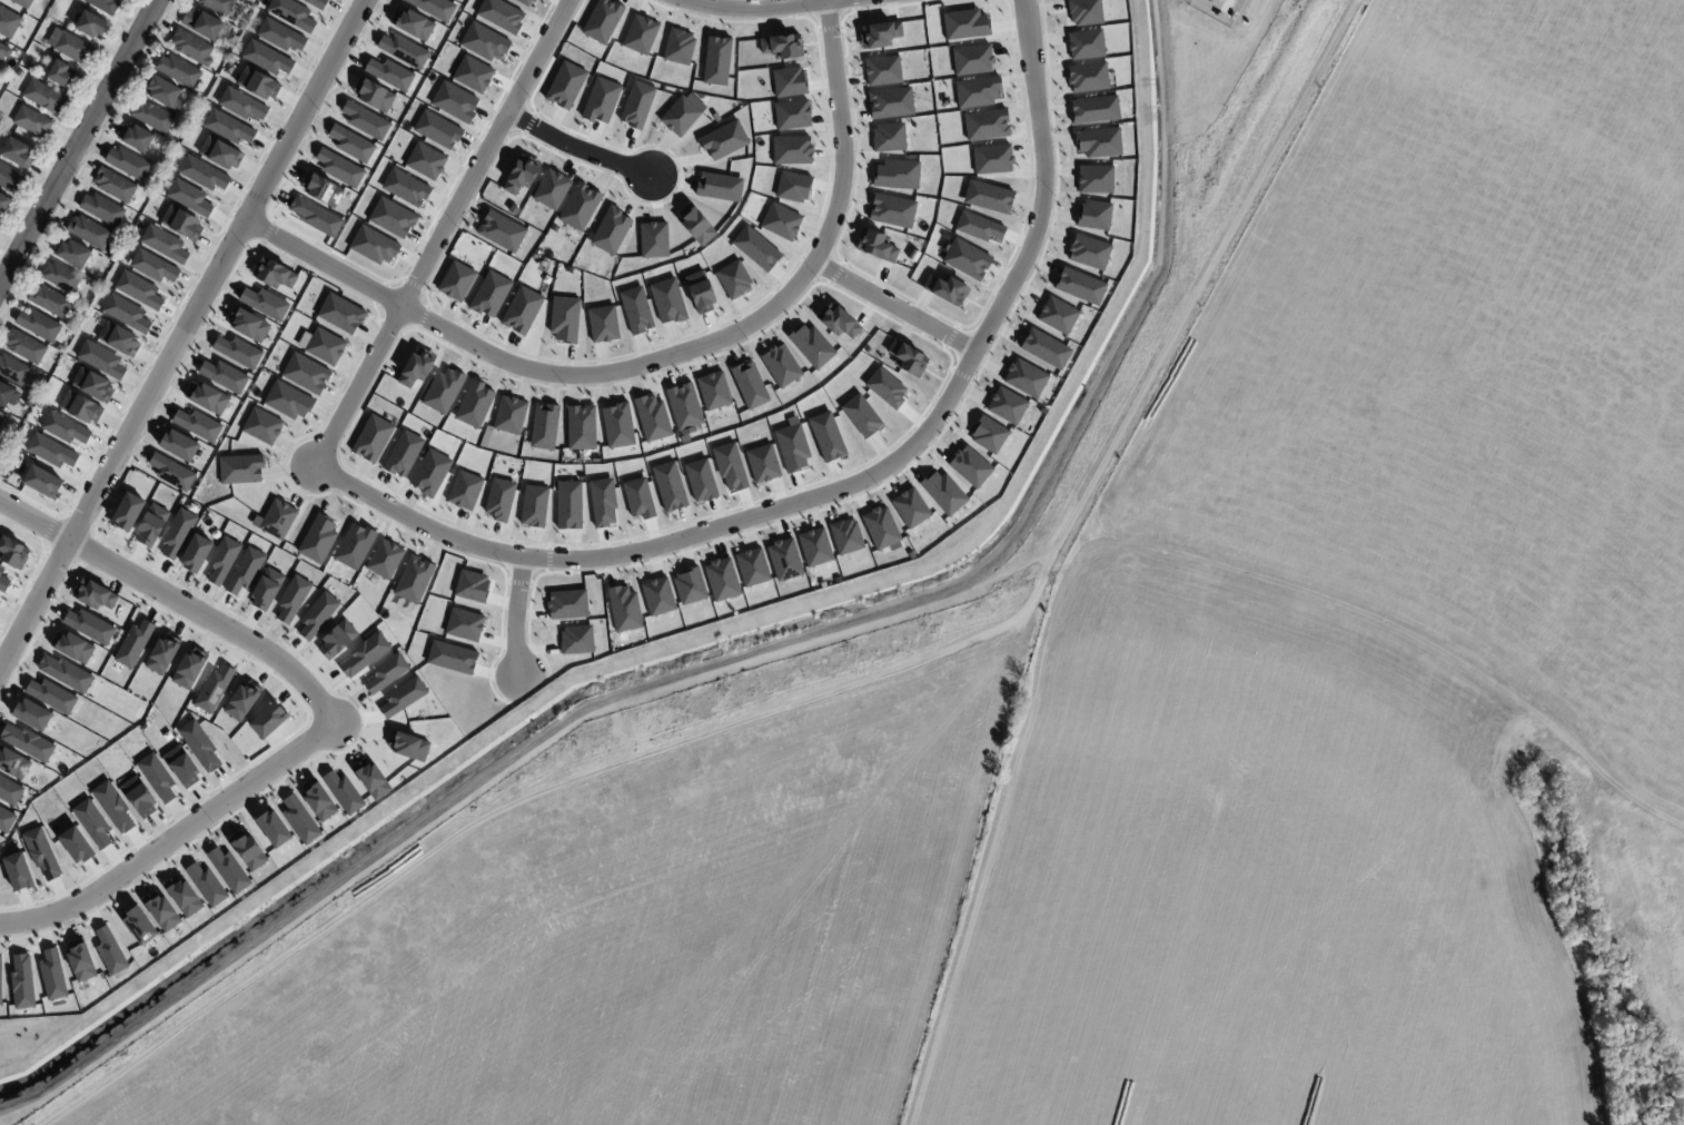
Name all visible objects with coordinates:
building: (524, 2)
building: (23, 3)
building: (316, 3)
building: (105, 6)
building: (218, 6)
building: (434, 8)
road: (767, 8)
building: (1084, 12)
building: (291, 13)
building: (501, 14)
building: (602, 20)
building: (9, 22)
building: (89, 22)
building: (204, 22)
building: (412, 23)
building: (964, 24)
building: (279, 34)
building: (640, 34)
building: (879, 34)
building: (484, 42)
building: (1086, 43)
building: (782, 46)
building: (678, 47)
building: (73, 48)
building: (192, 48)
building: (403, 50)
building: (4, 51)
building: (36, 53)
building: (266, 58)
building: (972, 59)
building: (716, 60)
building: (30, 65)
building: (882, 70)
building: (179, 71)
building: (390, 73)
building: (473, 73)
building: (21, 75)
building: (61, 75)
building: (1087, 77)
building: (789, 82)
building: (258, 83)
building: (565, 85)
building: (164, 90)
building: (977, 91)
building: (373, 95)
building: (43, 96)
building: (601, 100)
building: (455, 102)
building: (890, 102)
building: (240, 103)
building: (636, 105)
building: (1094, 109)
building: (681, 114)
building: (792, 115)
building: (152, 116)
building: (365, 120)
building: (32, 122)
building: (985, 125)
building: (229, 126)
building: (437, 130)
building: (889, 137)
building: (137, 138)
road: (76, 140)
building: (724, 140)
building: (1098, 142)
building: (350, 144)
road: (577, 148)
building: (791, 149)
building: (17, 152)
building: (219, 152)
building: (992, 159)
building: (425, 161)
building: (128, 164)
building: (339, 168)
building: (202, 172)
building: (521, 175)
building: (897, 175)
building: (10, 177)
building: (1094, 179)
building: (115, 185)
building: (405, 187)
building: (719, 187)
building: (793, 187)
building: (321, 189)
building: (551, 189)
building: (189, 196)
building: (988, 197)
building: (3, 201)
building: (580, 207)
building: (102, 209)
building: (891, 210)
building: (315, 216)
building: (1093, 216)
building: (392, 217)
building: (781, 221)
building: (181, 223)
building: (695, 225)
building: (978, 227)
building: (610, 230)
building: (502, 231)
building: (89, 233)
road: (443, 233)
building: (653, 240)
building: (164, 244)
building: (373, 245)
building: (875, 245)
building: (755, 248)
building: (1088, 251)
building: (73, 254)
building: (967, 259)
building: (153, 267)
building: (273, 274)
building: (61, 277)
building: (733, 279)
building: (456, 280)
building: (1080, 286)
building: (945, 289)
building: (138, 290)
building: (700, 292)
building: (489, 294)
building: (667, 300)
building: (51, 302)
building: (264, 303)
road: (897, 306)
building: (521, 310)
building: (635, 310)
building: (126, 313)
building: (340, 314)
building: (1057, 315)
building: (564, 318)
building: (836, 320)
building: (603, 324)
building: (39, 325)
building: (248, 325)
road: (185, 335)
building: (118, 339)
building: (811, 345)
building: (325, 346)
building: (24, 347)
building: (59, 348)
building: (1044, 348)
building: (237, 352)
road: (662, 358)
building: (907, 358)
building: (101, 359)
building: (781, 365)
crop: (1458, 366)
building: (415, 368)
building: (13, 371)
building: (306, 374)
building: (224, 376)
building: (1024, 378)
building: (92, 385)
building: (750, 385)
building: (885, 387)
building: (443, 391)
building: (714, 391)
building: (7, 395)
building: (206, 398)
building: (287, 401)
building: (29, 402)
building: (474, 404)
building: (1007, 405)
building: (80, 407)
building: (684, 409)
building: (509, 415)
building: (861, 415)
building: (652, 418)
building: (3, 422)
building: (198, 425)
building: (617, 425)
building: (261, 426)
building: (544, 426)
building: (581, 427)
building: (63, 428)
building: (988, 434)
building: (826, 436)
building: (372, 437)
building: (178, 445)
building: (792, 445)
building: (6, 451)
building: (50, 451)
building: (403, 453)
building: (762, 463)
building: (730, 466)
building: (970, 466)
building: (240, 468)
building: (171, 472)
building: (430, 473)
building: (701, 480)
building: (41, 482)
building: (670, 486)
road: (845, 486)
building: (464, 490)
building: (943, 493)
building: (638, 497)
building: (499, 499)
building: (602, 502)
building: (533, 505)
building: (568, 505)
building: (910, 507)
building: (127, 512)
building: (276, 520)
building: (151, 525)
building: (880, 527)
building: (177, 533)
building: (845, 536)
building: (317, 539)
building: (354, 545)
building: (814, 546)
building: (12, 553)
building: (196, 553)
building: (384, 559)
building: (222, 560)
building: (784, 560)
building: (752, 568)
building: (245, 571)
building: (721, 579)
building: (413, 580)
building: (2, 581)
building: (690, 585)
building: (470, 586)
building: (266, 589)
building: (93, 594)
building: (657, 596)
building: (291, 599)
road: (177, 601)
building: (567, 604)
building: (624, 609)
building: (317, 615)
road: (515, 616)
building: (464, 625)
building: (89, 626)
building: (336, 640)
building: (576, 640)
building: (133, 643)
building: (72, 648)
building: (162, 653)
building: (364, 654)
building: (450, 657)
building: (189, 669)
building: (65, 673)
building: (386, 673)
building: (214, 689)
road: (832, 690)
building: (52, 695)
building: (403, 698)
building: (241, 700)
building: (31, 714)
building: (268, 721)
building: (28, 743)
building: (198, 744)
building: (408, 746)
building: (13, 764)
building: (181, 767)
building: (157, 777)
building: (370, 780)
building: (9, 791)
building: (343, 792)
building: (138, 797)
building: (318, 801)
building: (112, 806)
building: (6, 820)
building: (299, 820)
building: (92, 823)
building: (273, 829)
road: (174, 837)
building: (75, 846)
building: (247, 850)
building: (41, 852)
building: (229, 870)
building: (17, 871)
building: (206, 885)
building: (182, 897)
building: (161, 911)
building: (138, 925)
building: (109, 950)
building: (80, 960)
building: (52, 975)
building: (0, 979)
building: (21, 981)

